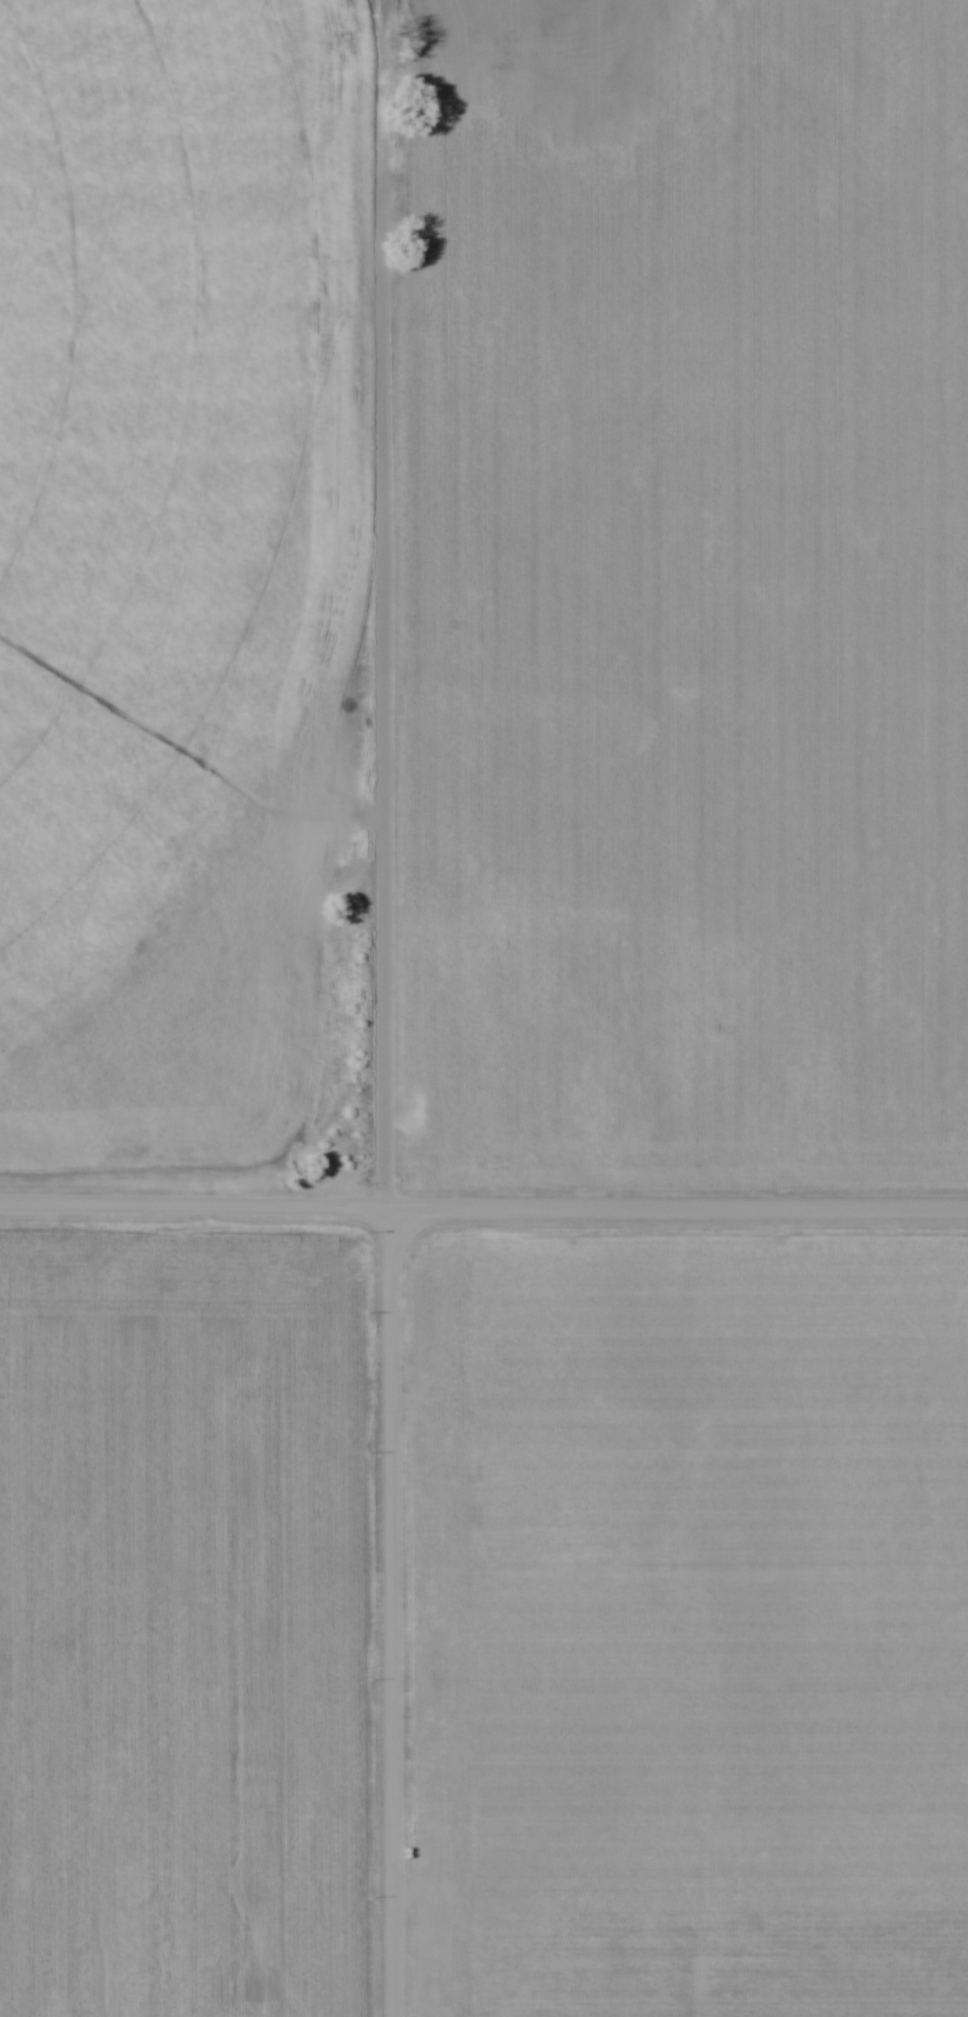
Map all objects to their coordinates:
road: (388, 1008)
road: (483, 1209)

